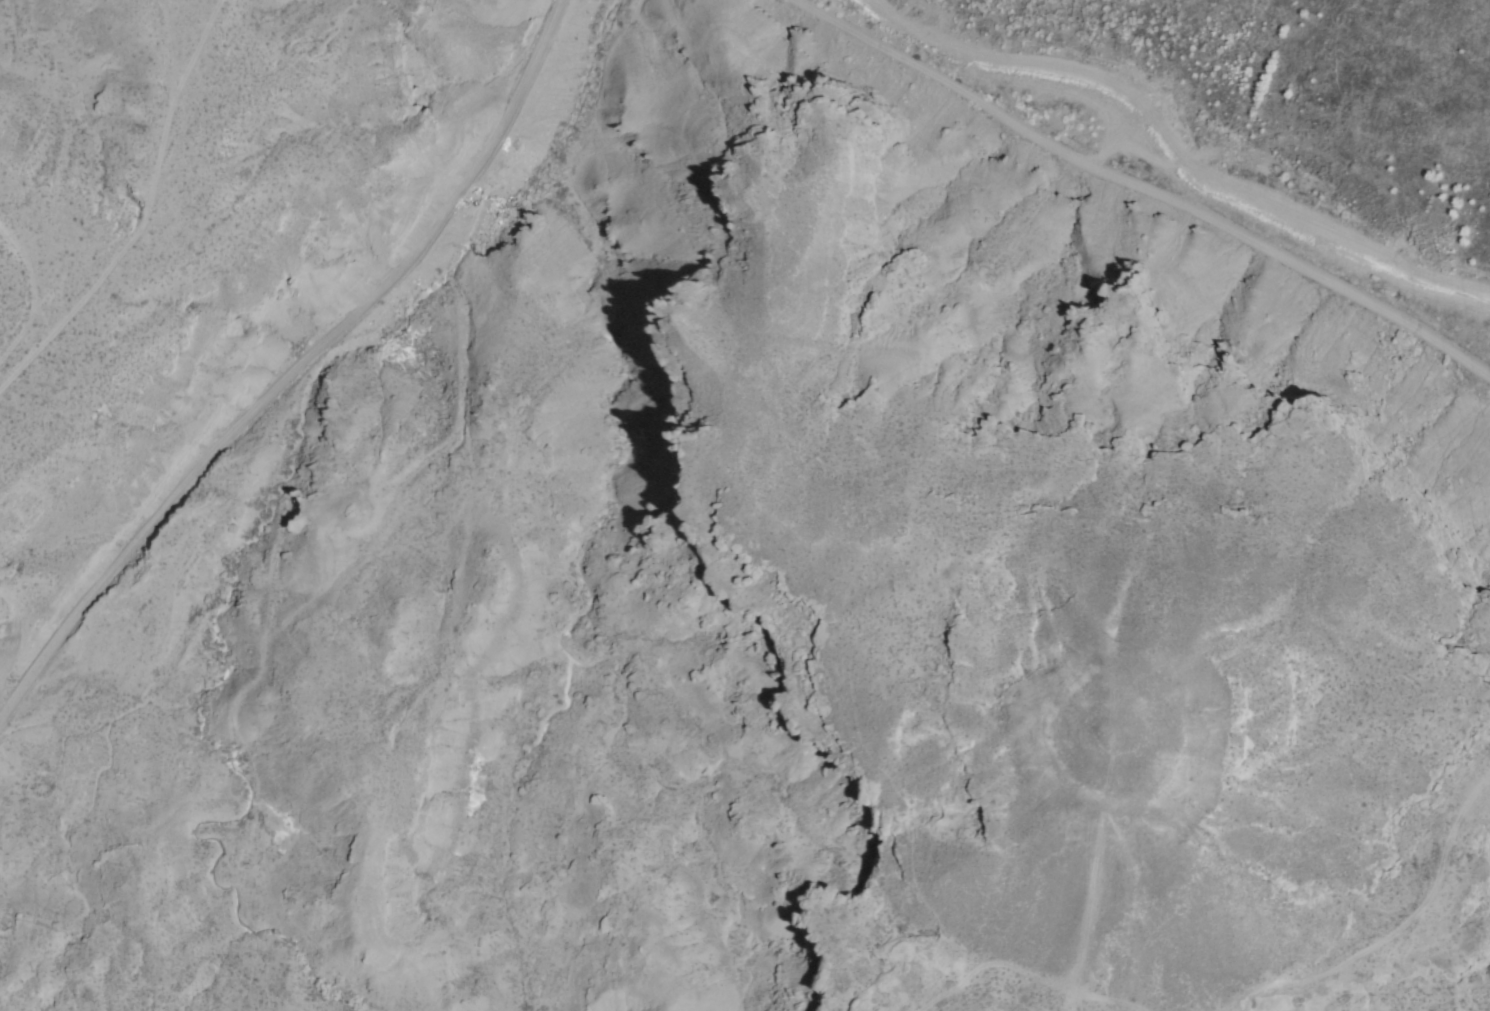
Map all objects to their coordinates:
road: (1144, 189)
road: (291, 374)

